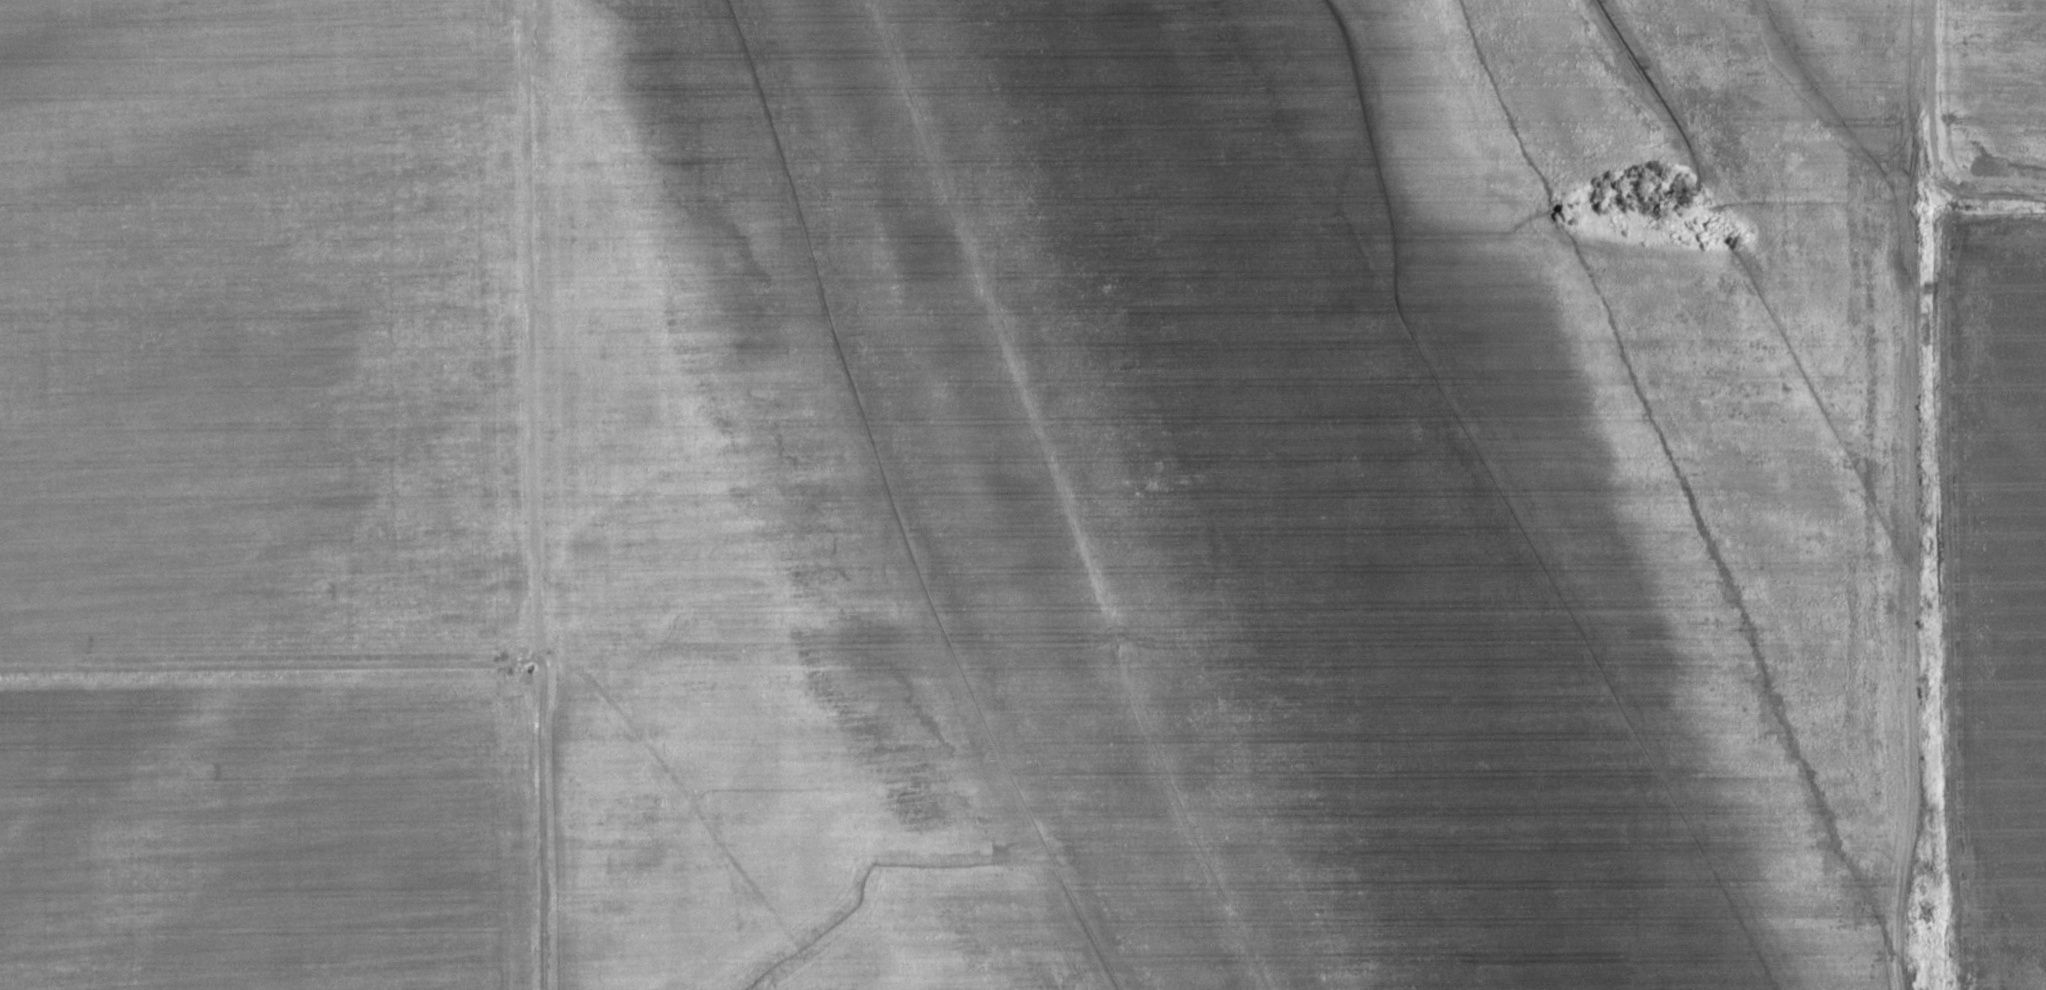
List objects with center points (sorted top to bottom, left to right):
road: (1909, 539)

